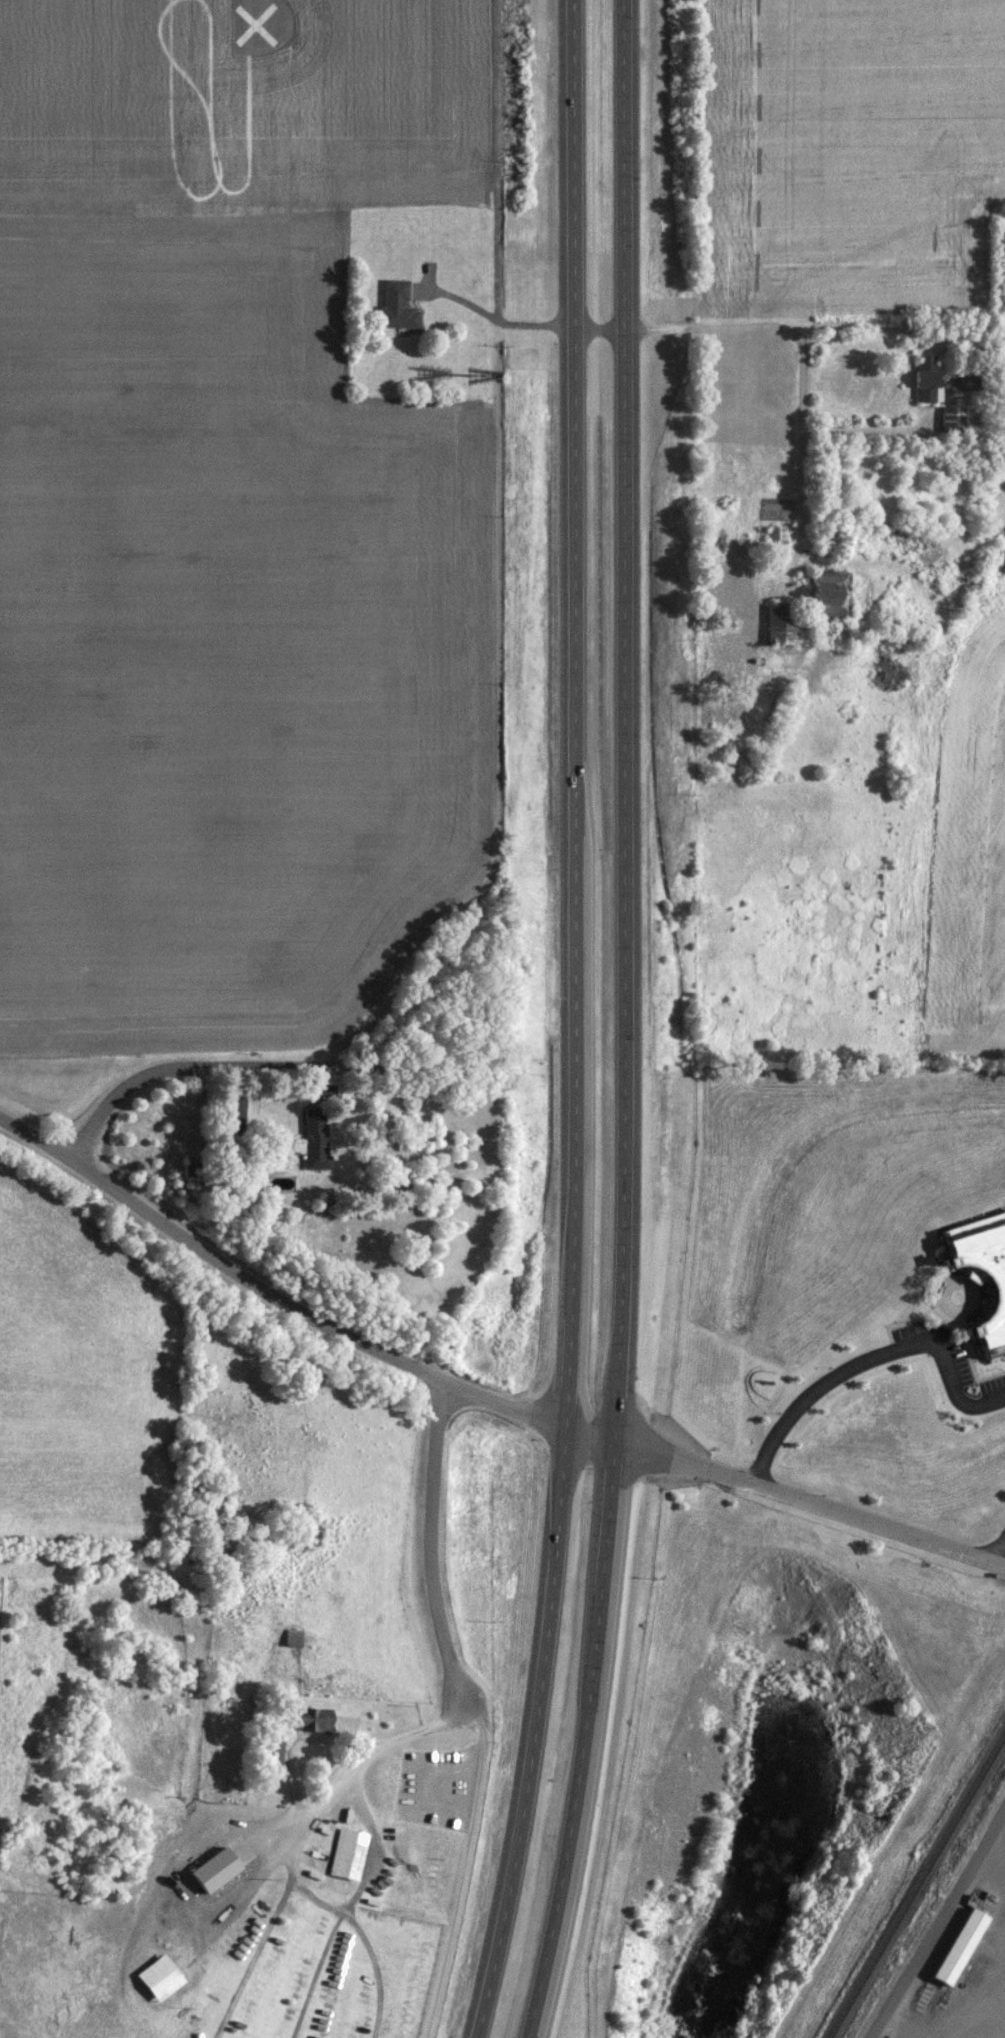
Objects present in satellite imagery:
airport runway: (244, 19)
airport: (255, 100)
building: (395, 306)
road: (443, 318)
road: (792, 330)
building: (924, 378)
building: (950, 416)
road: (875, 430)
building: (826, 593)
building: (777, 624)
building: (717, 645)
road: (578, 1022)
road: (625, 1022)
road: (274, 1068)
building: (224, 1119)
road: (37, 1141)
building: (307, 1146)
building: (982, 1273)
road: (331, 1323)
road: (870, 1358)
road: (807, 1506)
road: (434, 1542)
road: (1001, 1560)
building: (305, 1718)
road: (407, 1729)
building: (273, 1753)
building: (346, 1853)
road: (464, 1869)
building: (211, 1870)
railway: (917, 1887)
road: (936, 1922)
building: (956, 1946)
building: (157, 1977)

